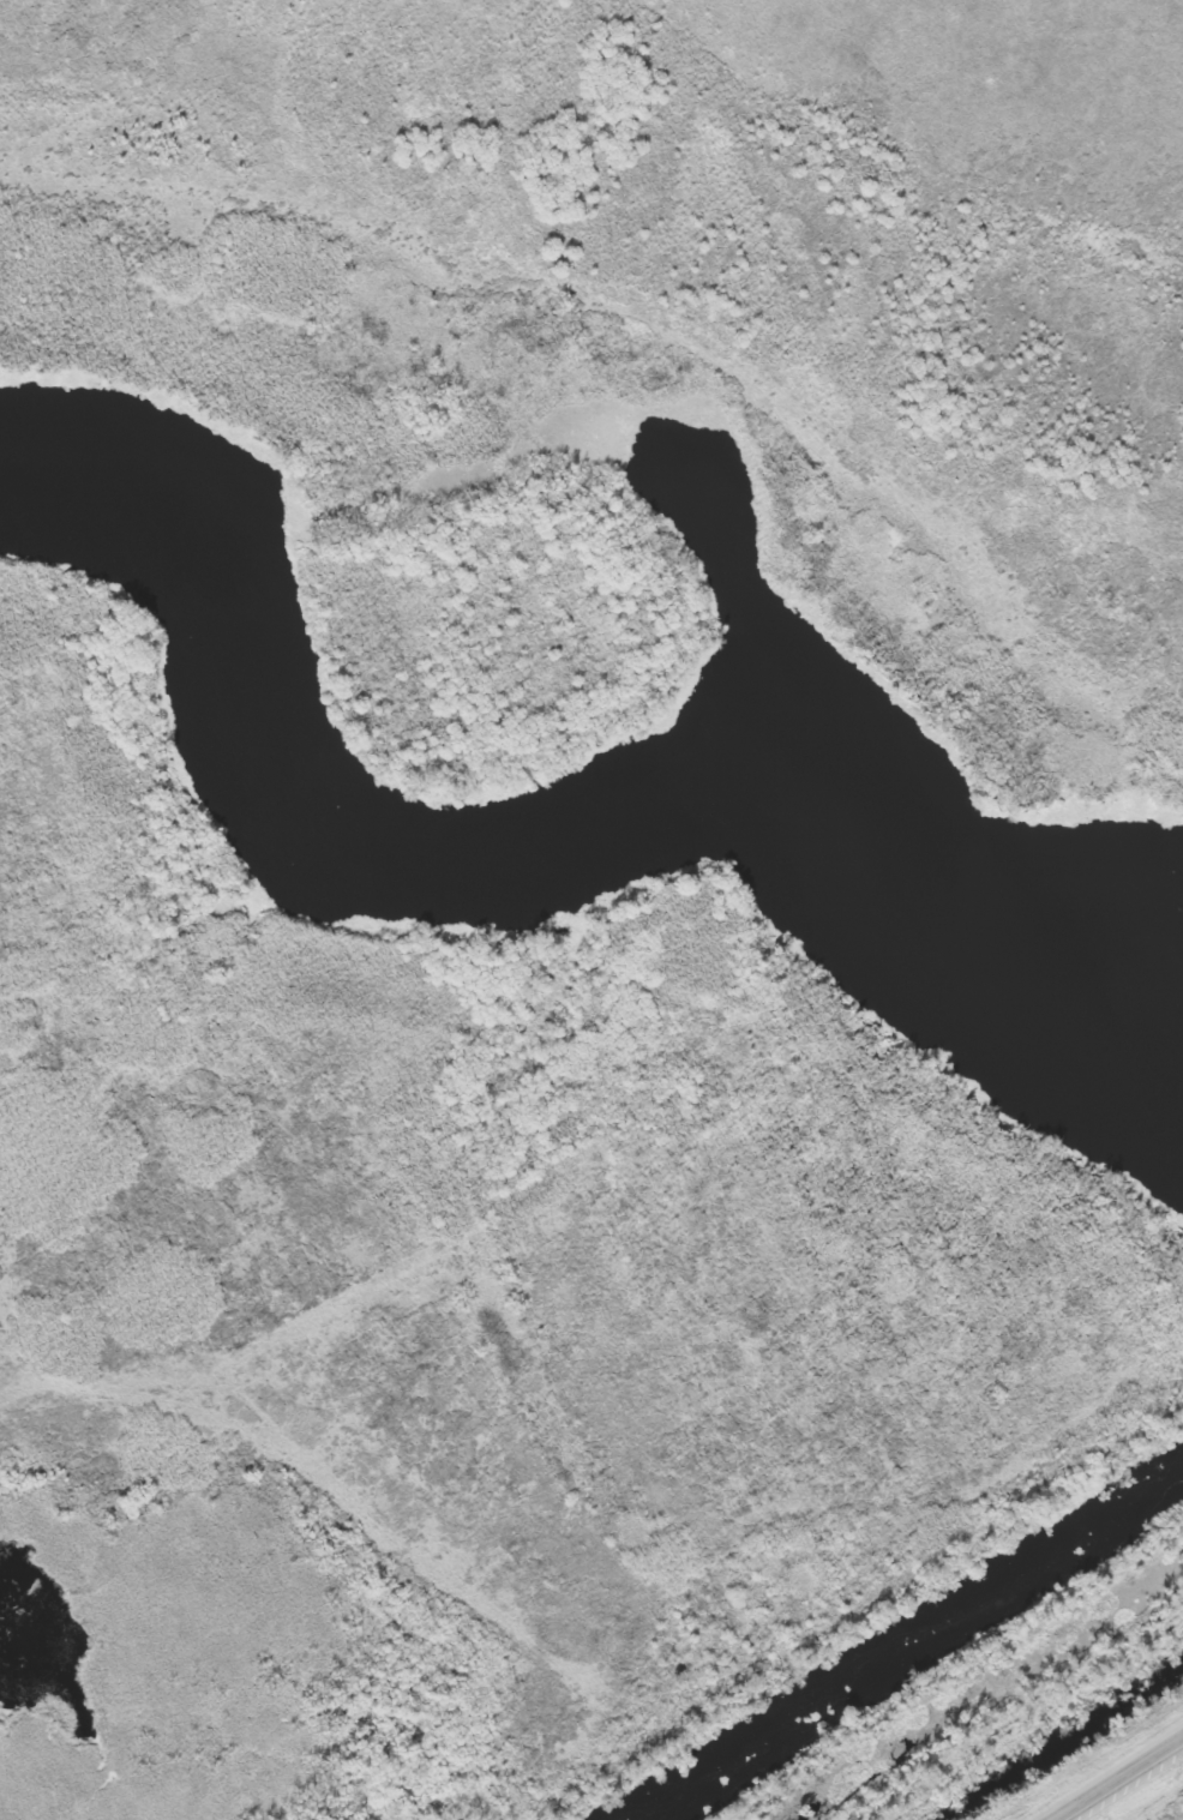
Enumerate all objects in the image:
road: (1119, 1779)

